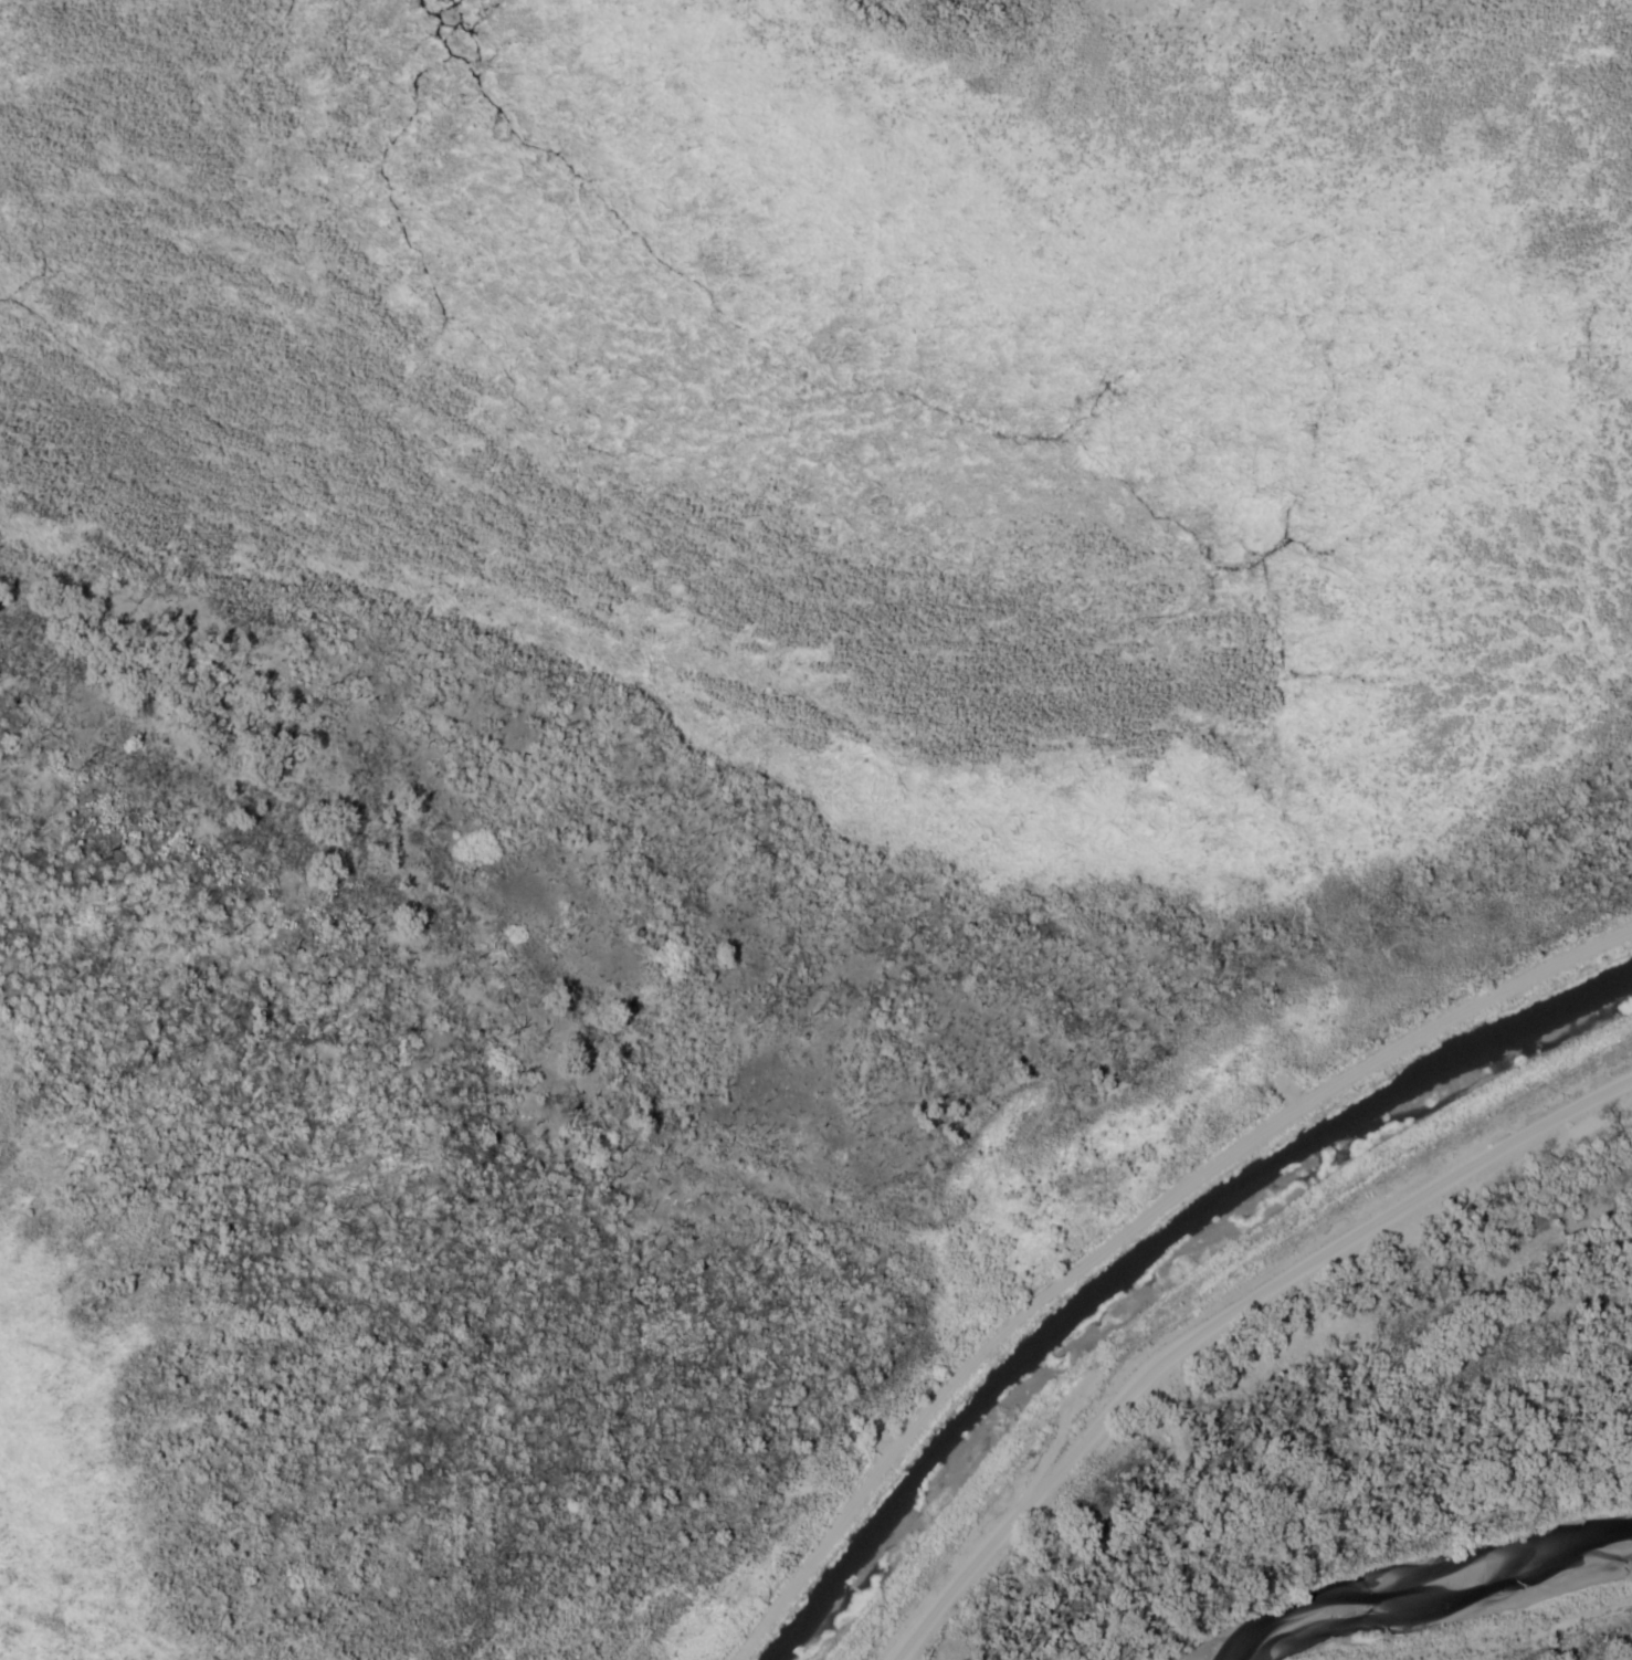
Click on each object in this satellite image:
road: (1124, 1226)
road: (1219, 1316)
river: (1418, 1586)

